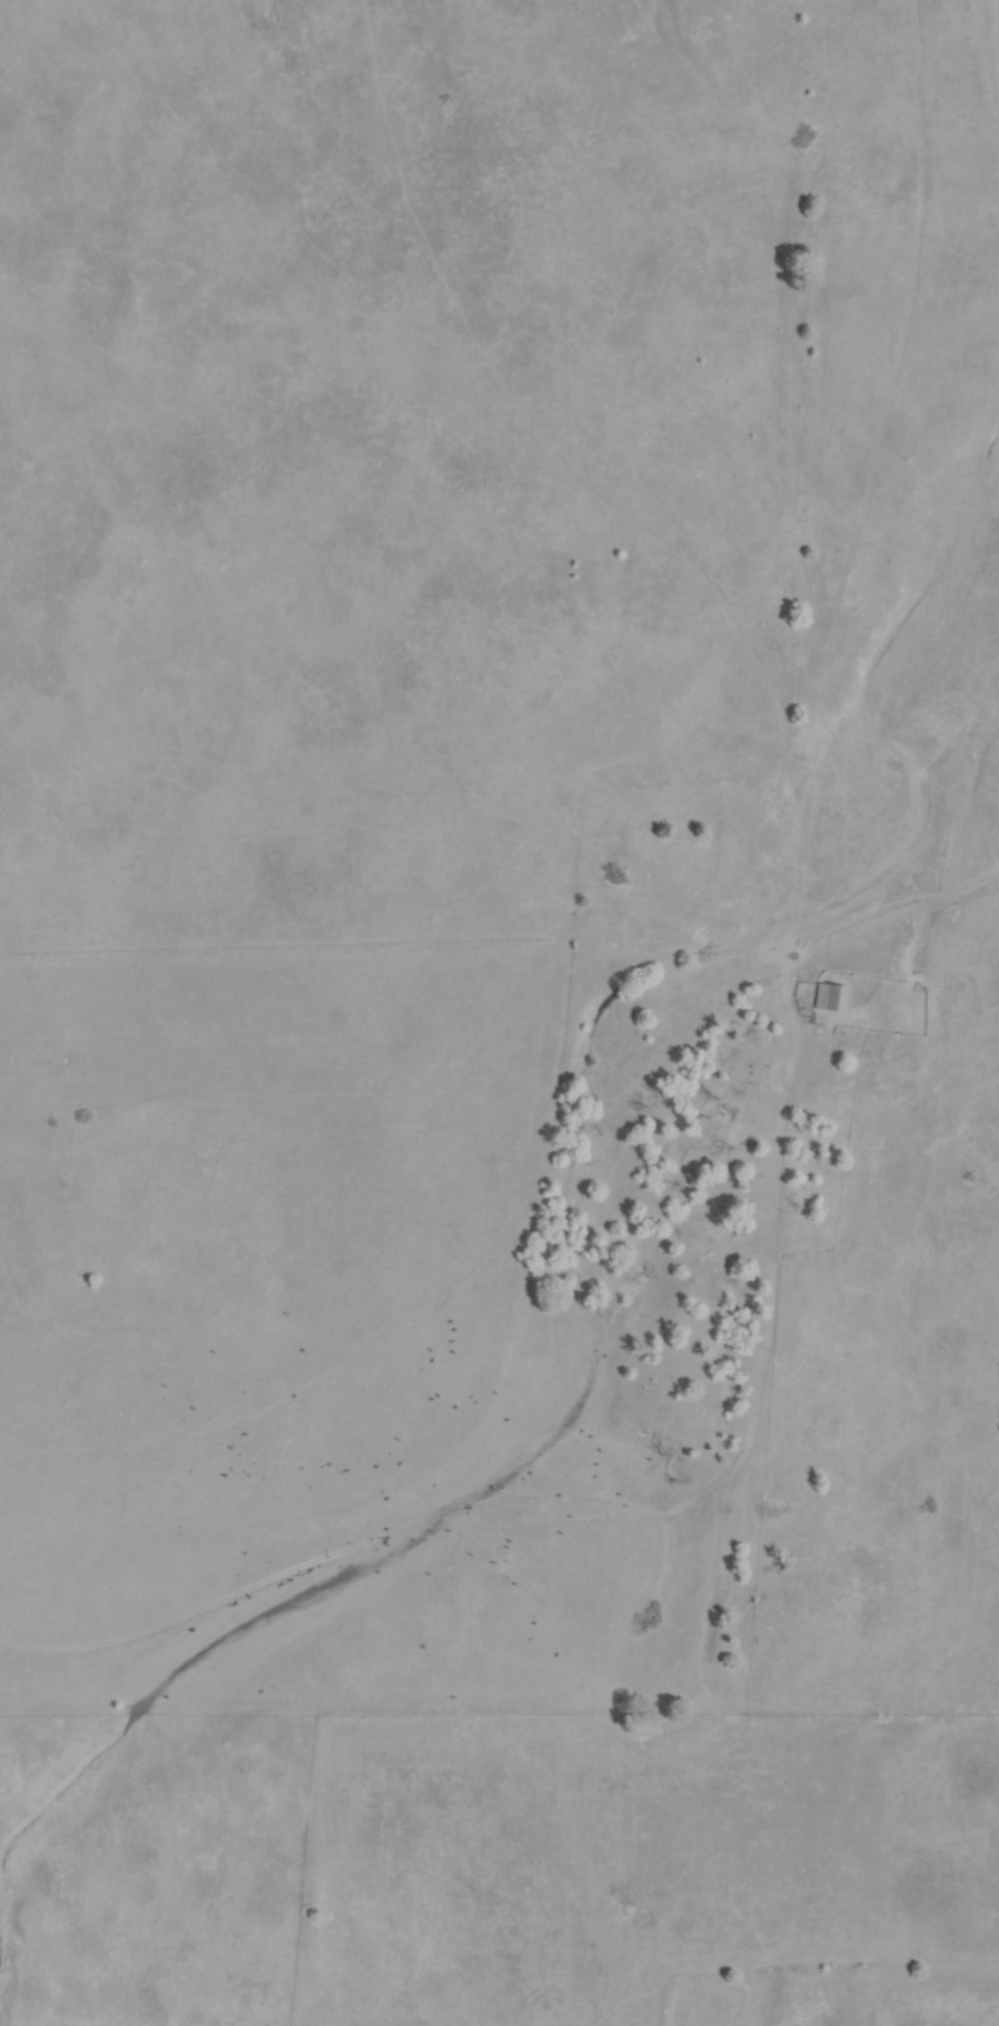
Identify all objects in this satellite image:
building: (828, 999)

